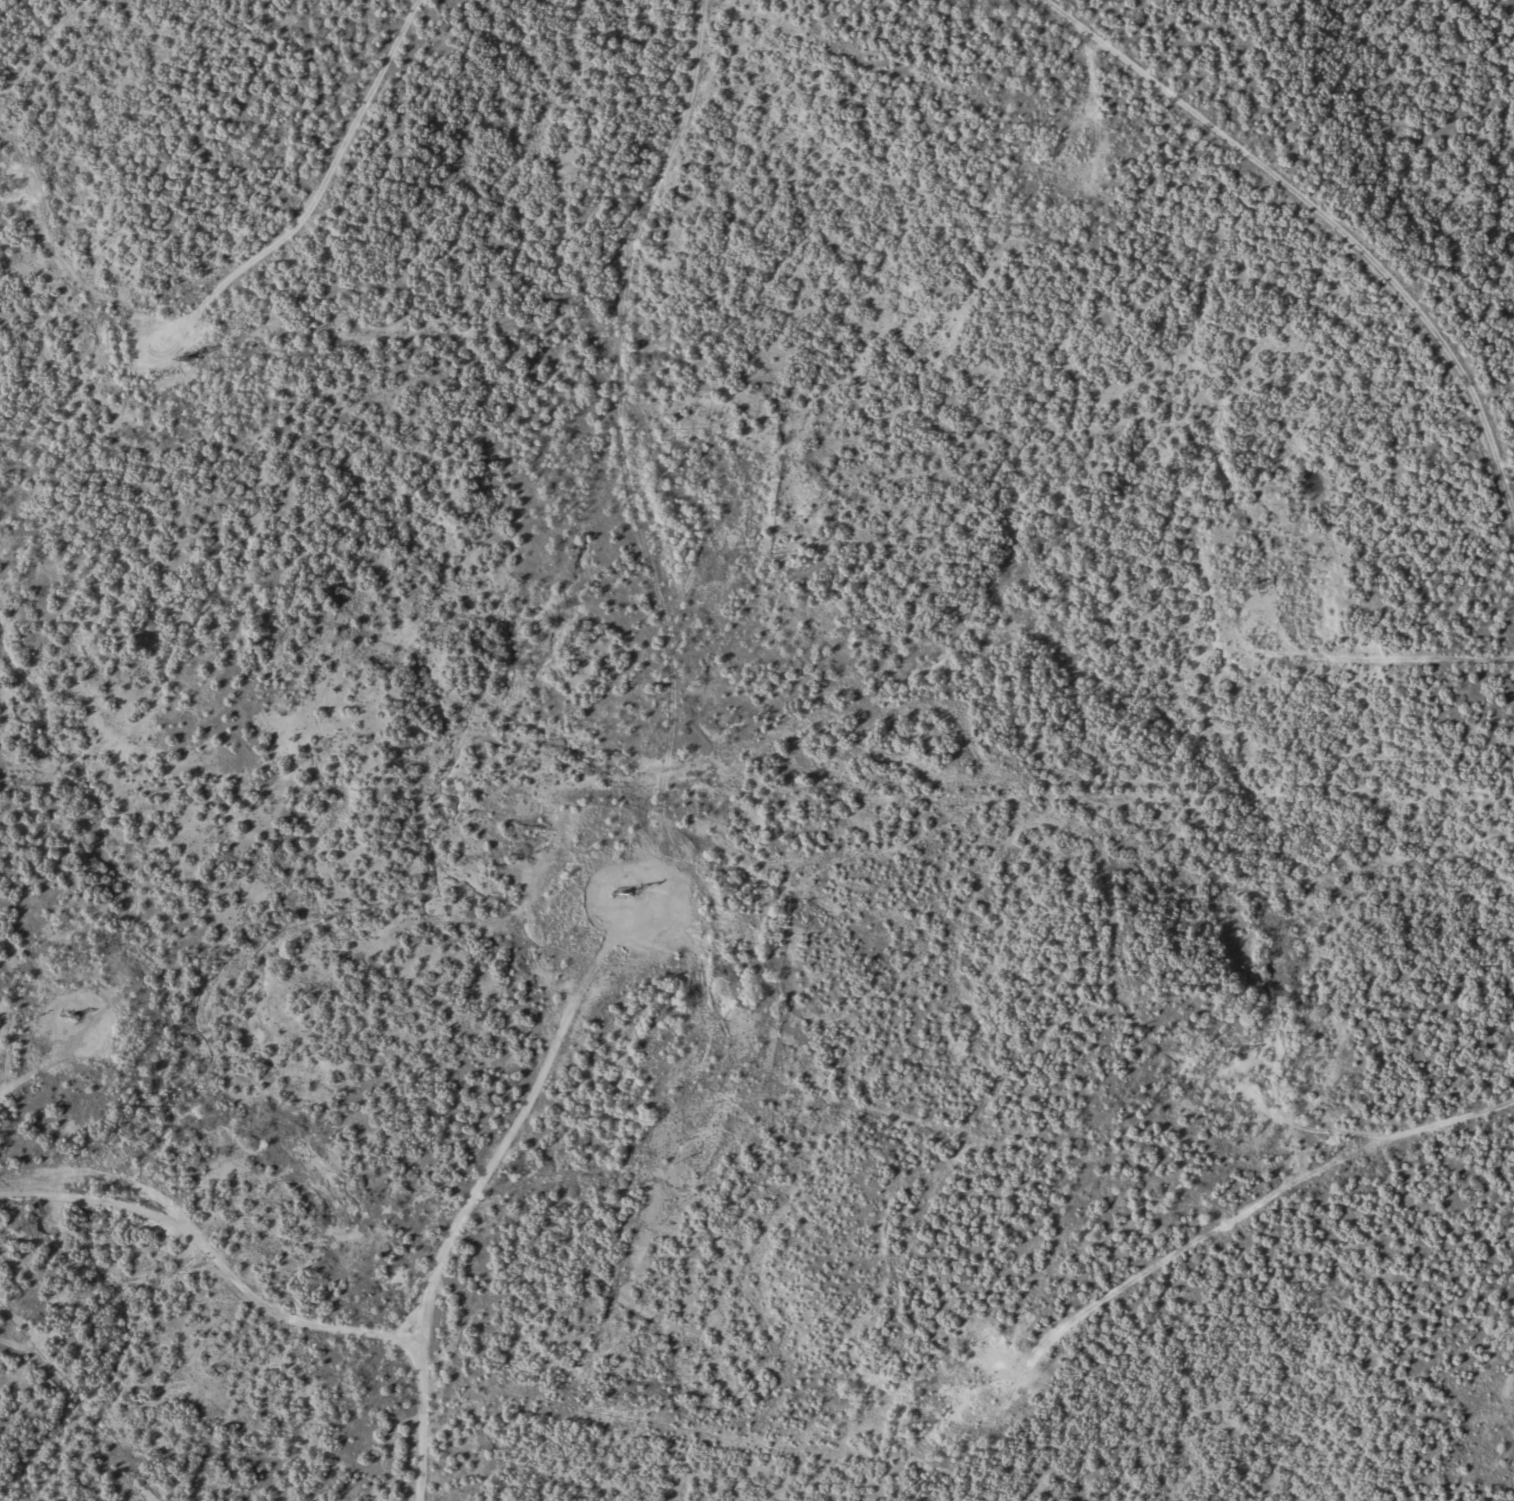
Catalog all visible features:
petroleum well: (184, 347)
road: (636, 763)
petroleum well: (72, 1011)
petroleum well: (1231, 1046)

